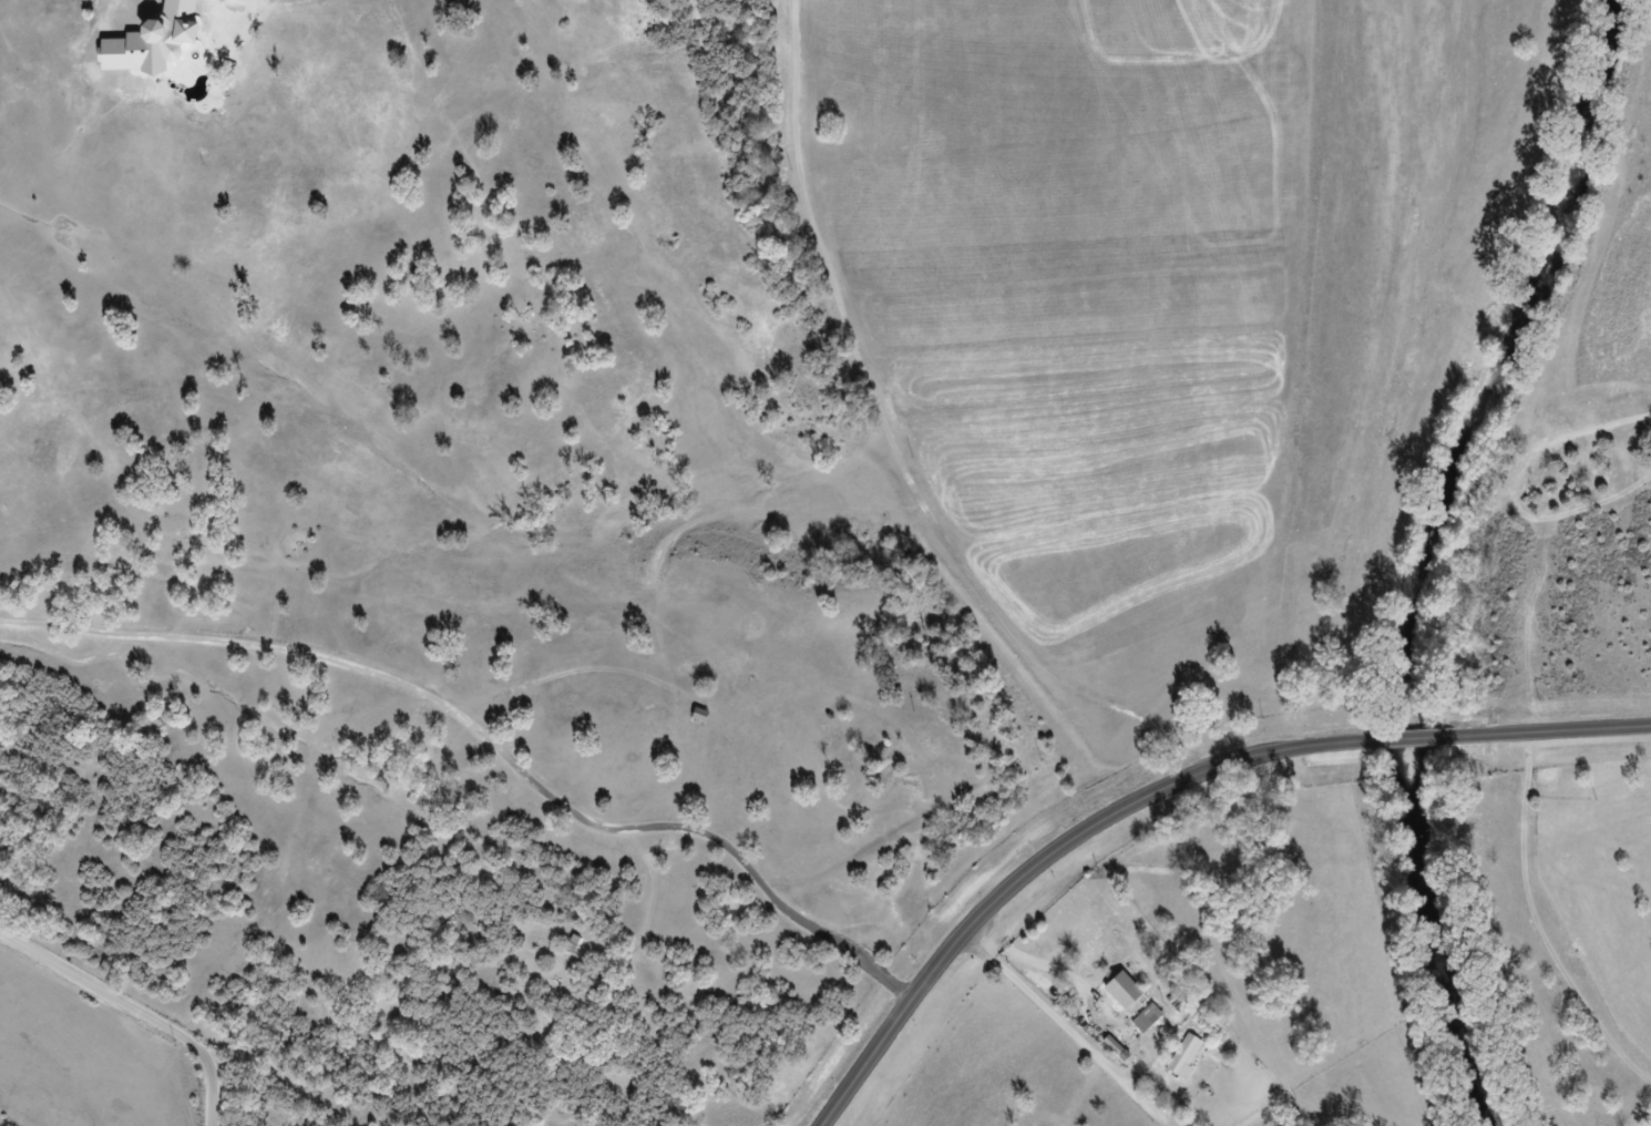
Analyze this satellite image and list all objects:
road: (1632, 213)
river: (1427, 543)
road: (1559, 730)
road: (1419, 736)
road: (1046, 858)
building: (1129, 985)
building: (1118, 997)
road: (135, 1009)
building: (1152, 1016)
building: (1140, 1023)
building: (1190, 1055)

